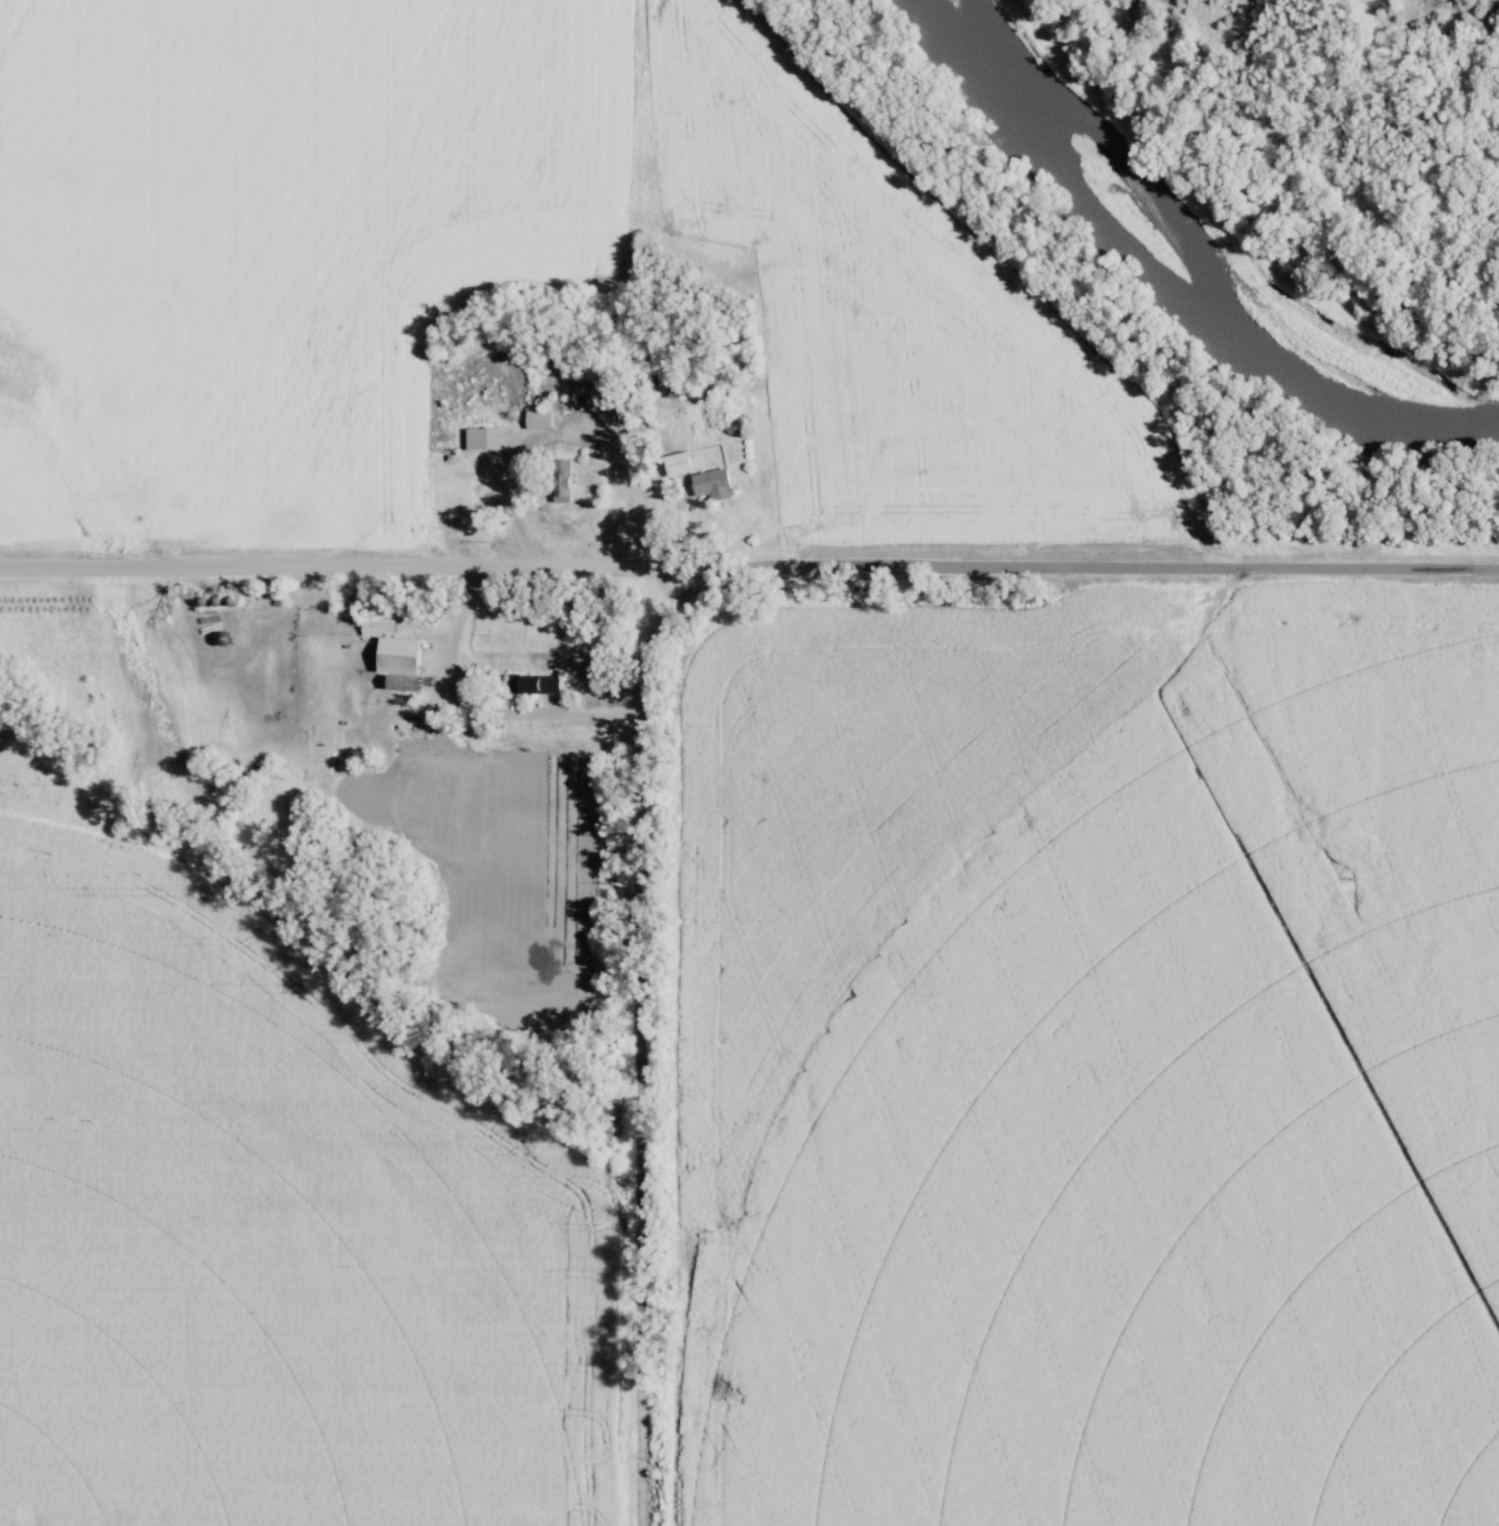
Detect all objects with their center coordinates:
river: (1201, 241)
building: (644, 387)
building: (669, 392)
building: (535, 419)
building: (479, 438)
building: (674, 464)
building: (555, 476)
building: (708, 484)
road: (358, 567)
road: (1108, 567)
building: (390, 654)
building: (530, 683)
building: (365, 758)
building: (440, 759)
road: (638, 1031)

